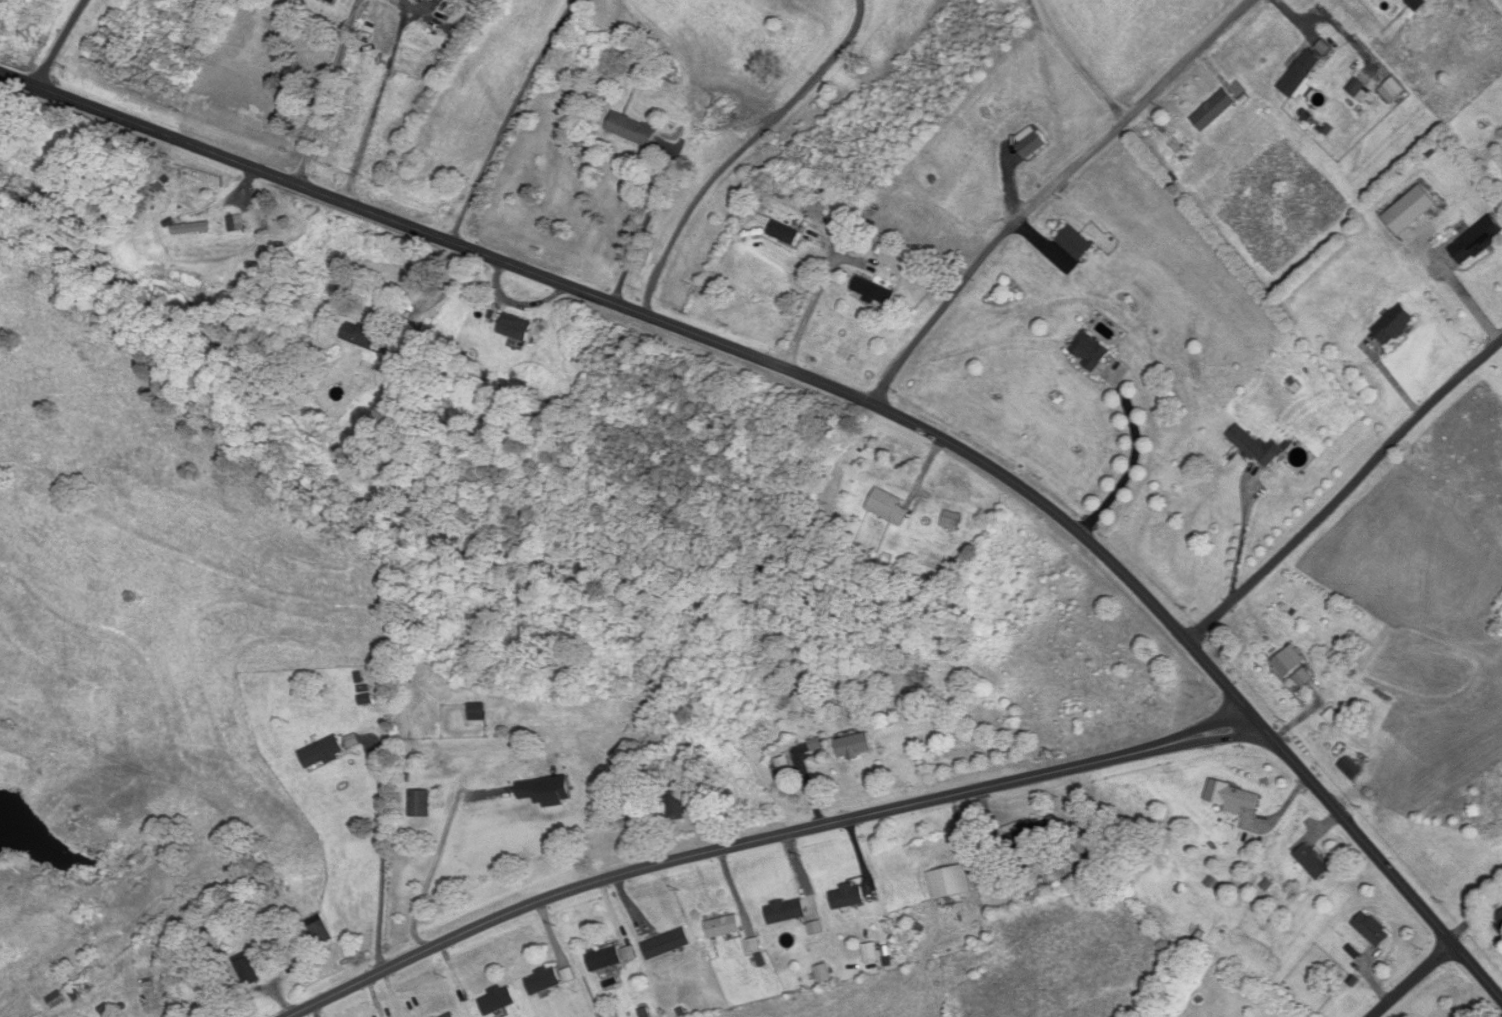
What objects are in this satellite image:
building: (333, 1)
building: (439, 1)
building: (485, 2)
road: (56, 42)
road: (1077, 63)
building: (1301, 74)
road: (328, 91)
road: (379, 98)
building: (1214, 111)
road: (508, 118)
building: (632, 130)
building: (1031, 146)
road: (744, 149)
road: (1053, 189)
building: (154, 216)
road: (648, 224)
building: (784, 233)
building: (1477, 241)
building: (1075, 244)
building: (874, 291)
road: (442, 294)
road: (818, 294)
building: (1395, 325)
building: (516, 327)
building: (365, 337)
building: (1090, 351)
road: (846, 390)
building: (1257, 447)
road: (1132, 462)
road: (1345, 495)
building: (888, 507)
building: (952, 521)
building: (1288, 662)
building: (477, 713)
building: (854, 747)
building: (322, 753)
building: (781, 768)
building: (1350, 769)
building: (547, 792)
building: (1232, 797)
building: (420, 804)
building: (676, 807)
building: (1028, 837)
road: (763, 838)
road: (383, 853)
building: (1313, 862)
road: (432, 870)
building: (949, 883)
building: (849, 897)
building: (786, 912)
building: (724, 927)
building: (1372, 930)
building: (318, 931)
building: (667, 945)
building: (870, 954)
building: (604, 960)
building: (247, 972)
road: (1416, 980)
building: (543, 981)
building: (56, 1001)
building: (497, 1001)
building: (451, 1016)

